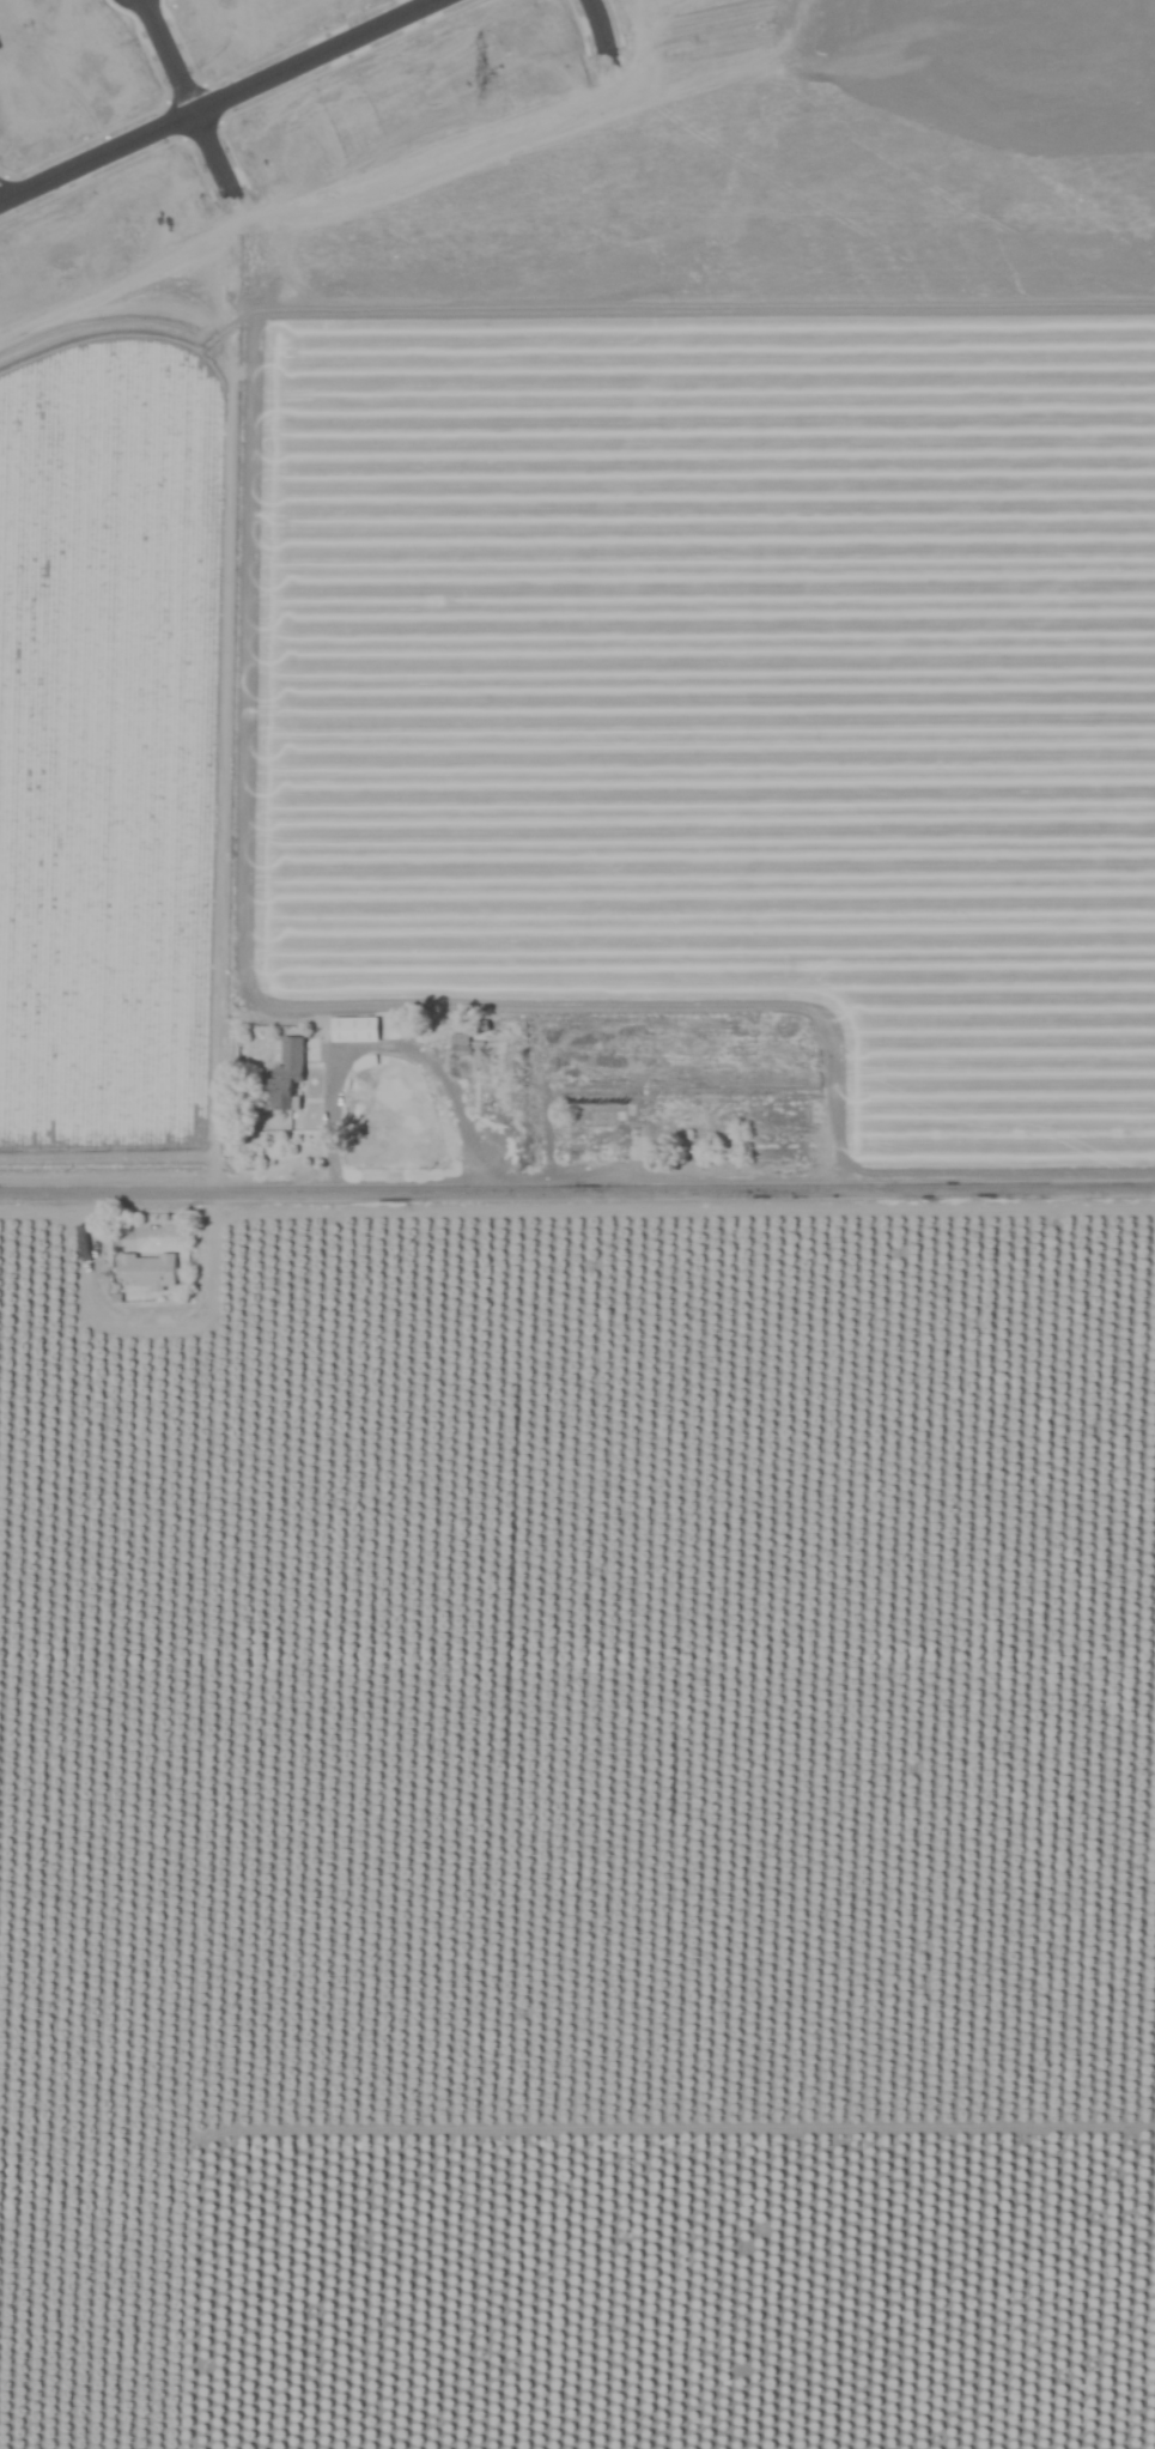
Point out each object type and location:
road: (591, 26)
road: (180, 99)
road: (221, 102)
building: (353, 1030)
building: (458, 1039)
road: (387, 1049)
building: (284, 1077)
road: (577, 1194)
crop: (577, 1224)
building: (145, 1269)

